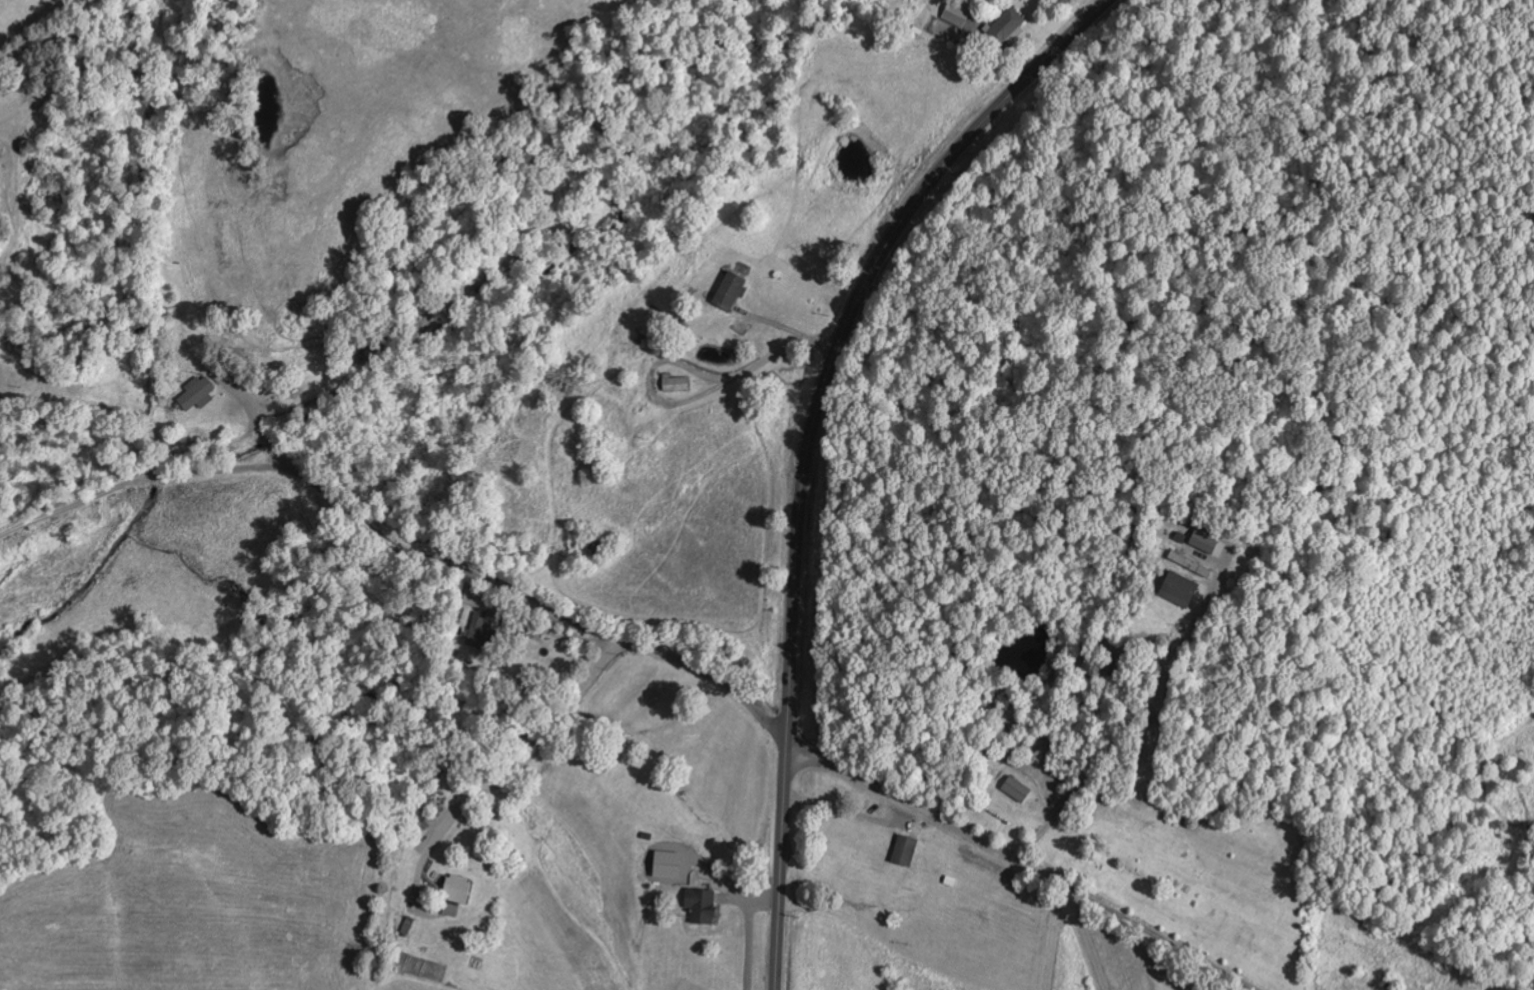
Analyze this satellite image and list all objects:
building: (957, 14)
building: (1006, 30)
road: (127, 226)
building: (731, 290)
building: (676, 384)
building: (198, 393)
road: (809, 444)
building: (1204, 541)
road: (396, 554)
building: (1179, 589)
building: (477, 598)
building: (479, 631)
road: (512, 783)
building: (1016, 789)
building: (905, 850)
road: (1019, 863)
building: (457, 890)
building: (702, 905)

